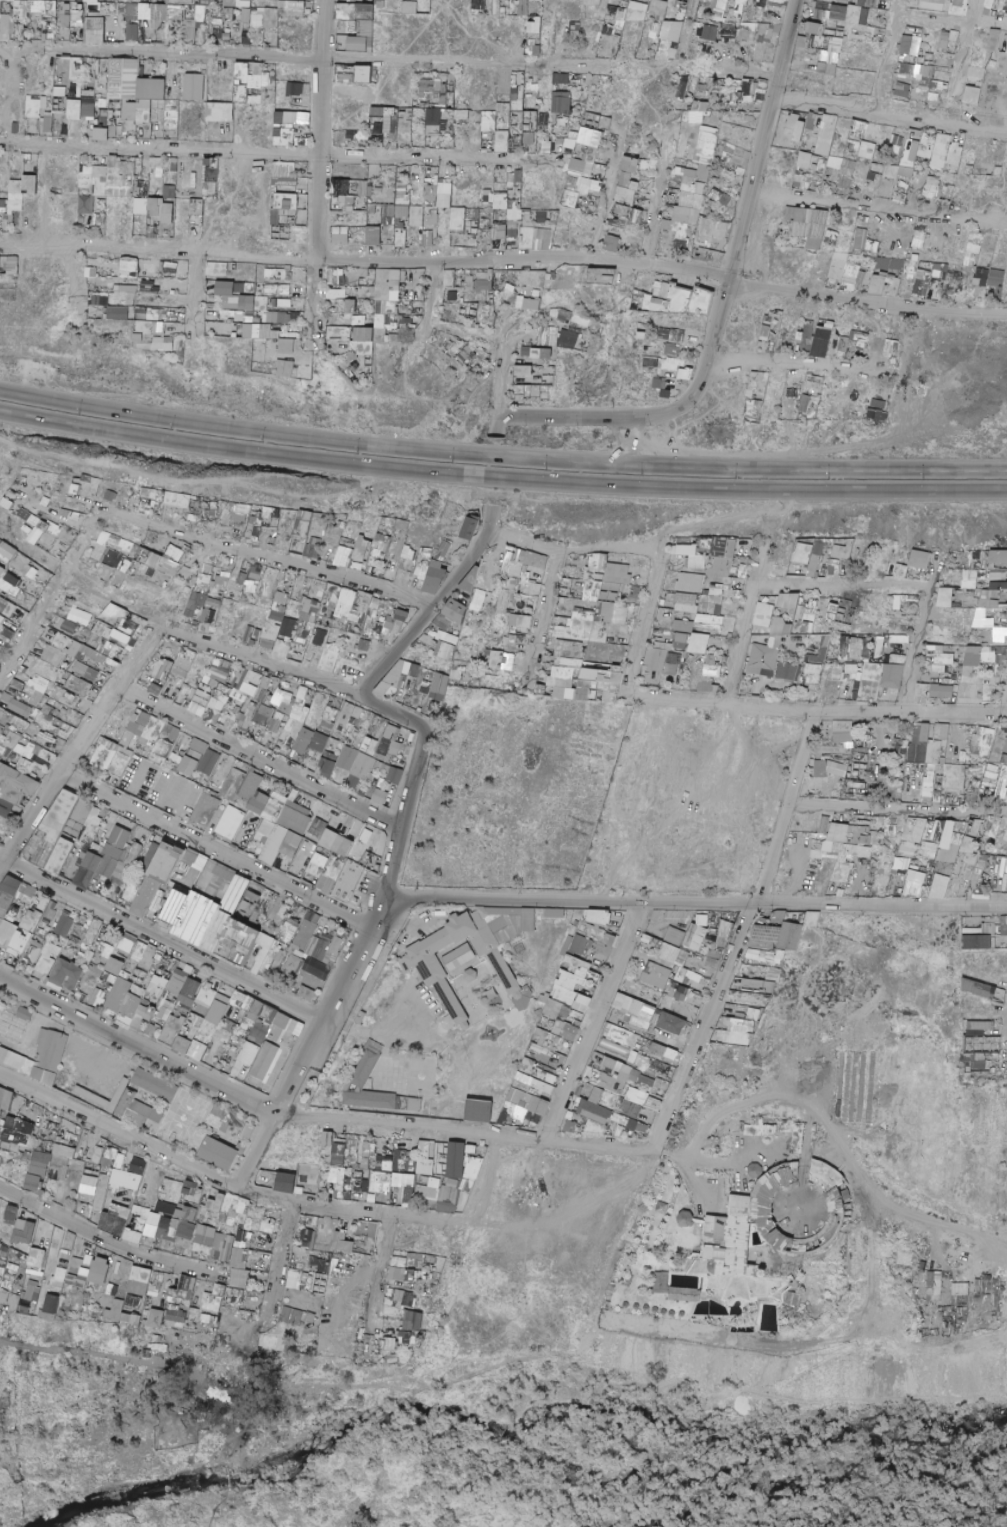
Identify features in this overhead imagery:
landfill: (1005, 1263)

